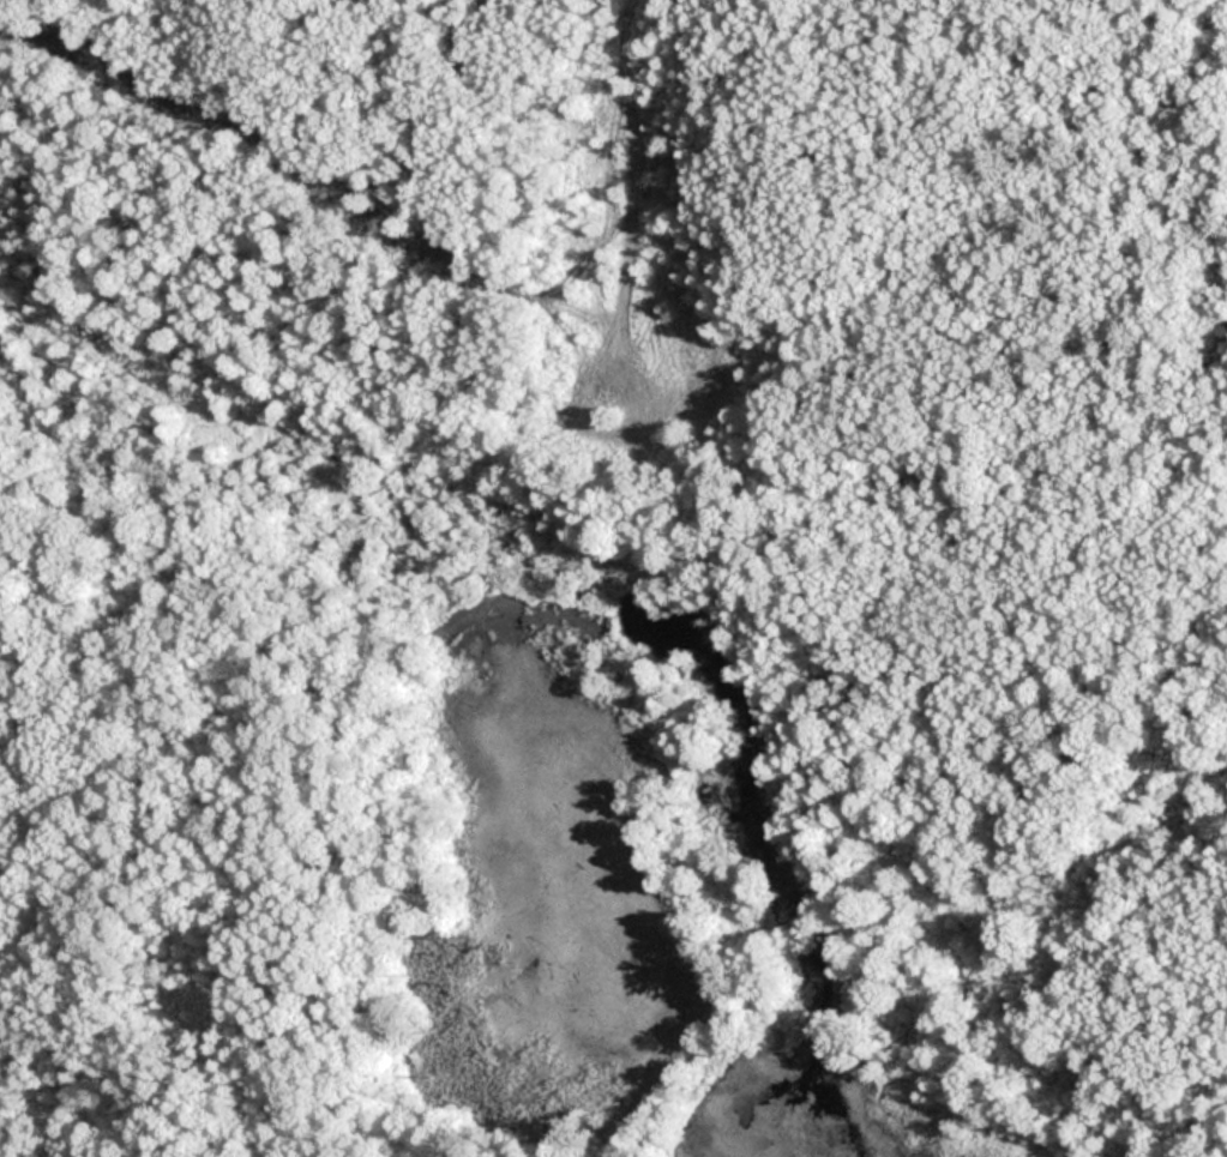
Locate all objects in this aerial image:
road: (590, 447)
park: (613, 578)

